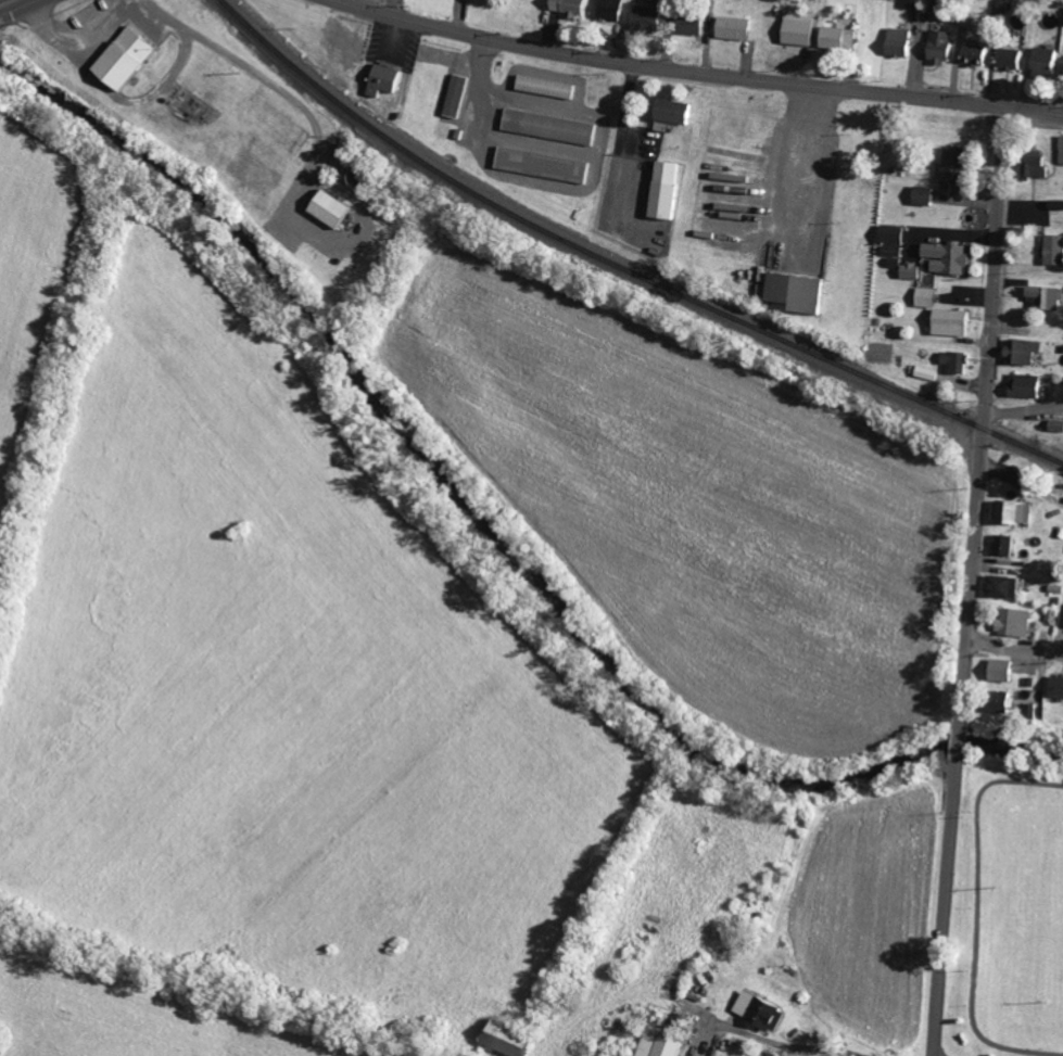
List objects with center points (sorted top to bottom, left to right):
building: (916, 3)
building: (573, 7)
road: (18, 8)
building: (613, 10)
building: (650, 18)
building: (697, 24)
building: (738, 28)
building: (802, 31)
building: (841, 38)
building: (902, 42)
building: (945, 47)
building: (979, 54)
building: (129, 59)
building: (1014, 59)
building: (1049, 62)
road: (159, 64)
road: (700, 69)
building: (388, 79)
building: (549, 87)
building: (459, 97)
building: (676, 114)
building: (553, 127)
building: (345, 154)
building: (1062, 158)
building: (546, 165)
building: (1040, 166)
building: (959, 171)
building: (669, 190)
building: (927, 195)
building: (336, 209)
building: (1056, 250)
building: (901, 252)
building: (951, 257)
railway: (621, 267)
building: (801, 292)
building: (929, 297)
building: (1047, 297)
building: (956, 323)
building: (1026, 352)
building: (958, 362)
building: (929, 373)
building: (1029, 385)
road: (1023, 407)
road: (983, 417)
building: (1058, 425)
building: (1016, 512)
building: (1008, 545)
building: (1007, 587)
building: (1020, 623)
road: (1015, 646)
building: (1005, 671)
building: (1059, 688)
building: (1005, 702)
road: (961, 743)
road: (948, 907)
building: (764, 1009)
building: (518, 1040)
building: (662, 1044)

